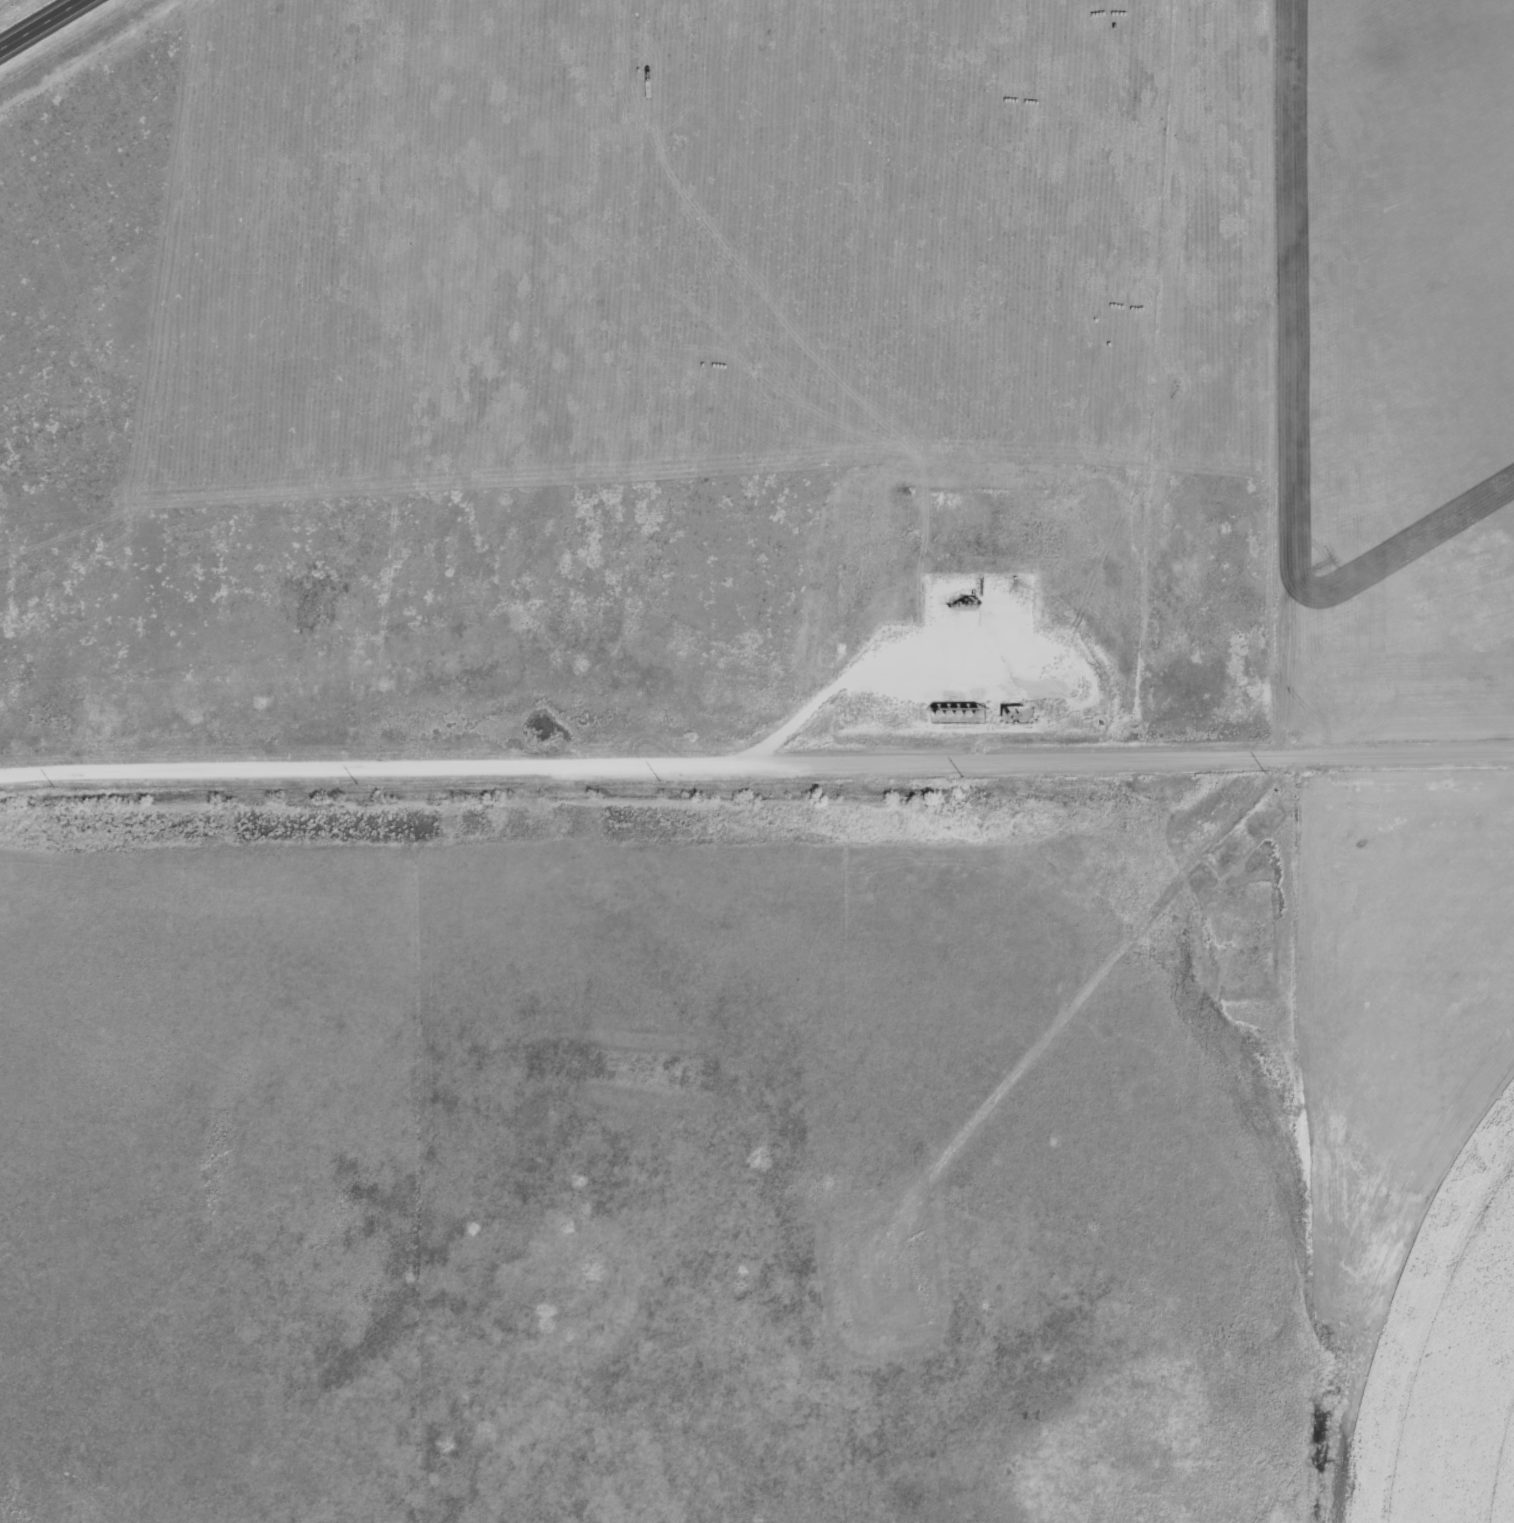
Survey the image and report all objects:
road: (43, 26)
road: (757, 763)

